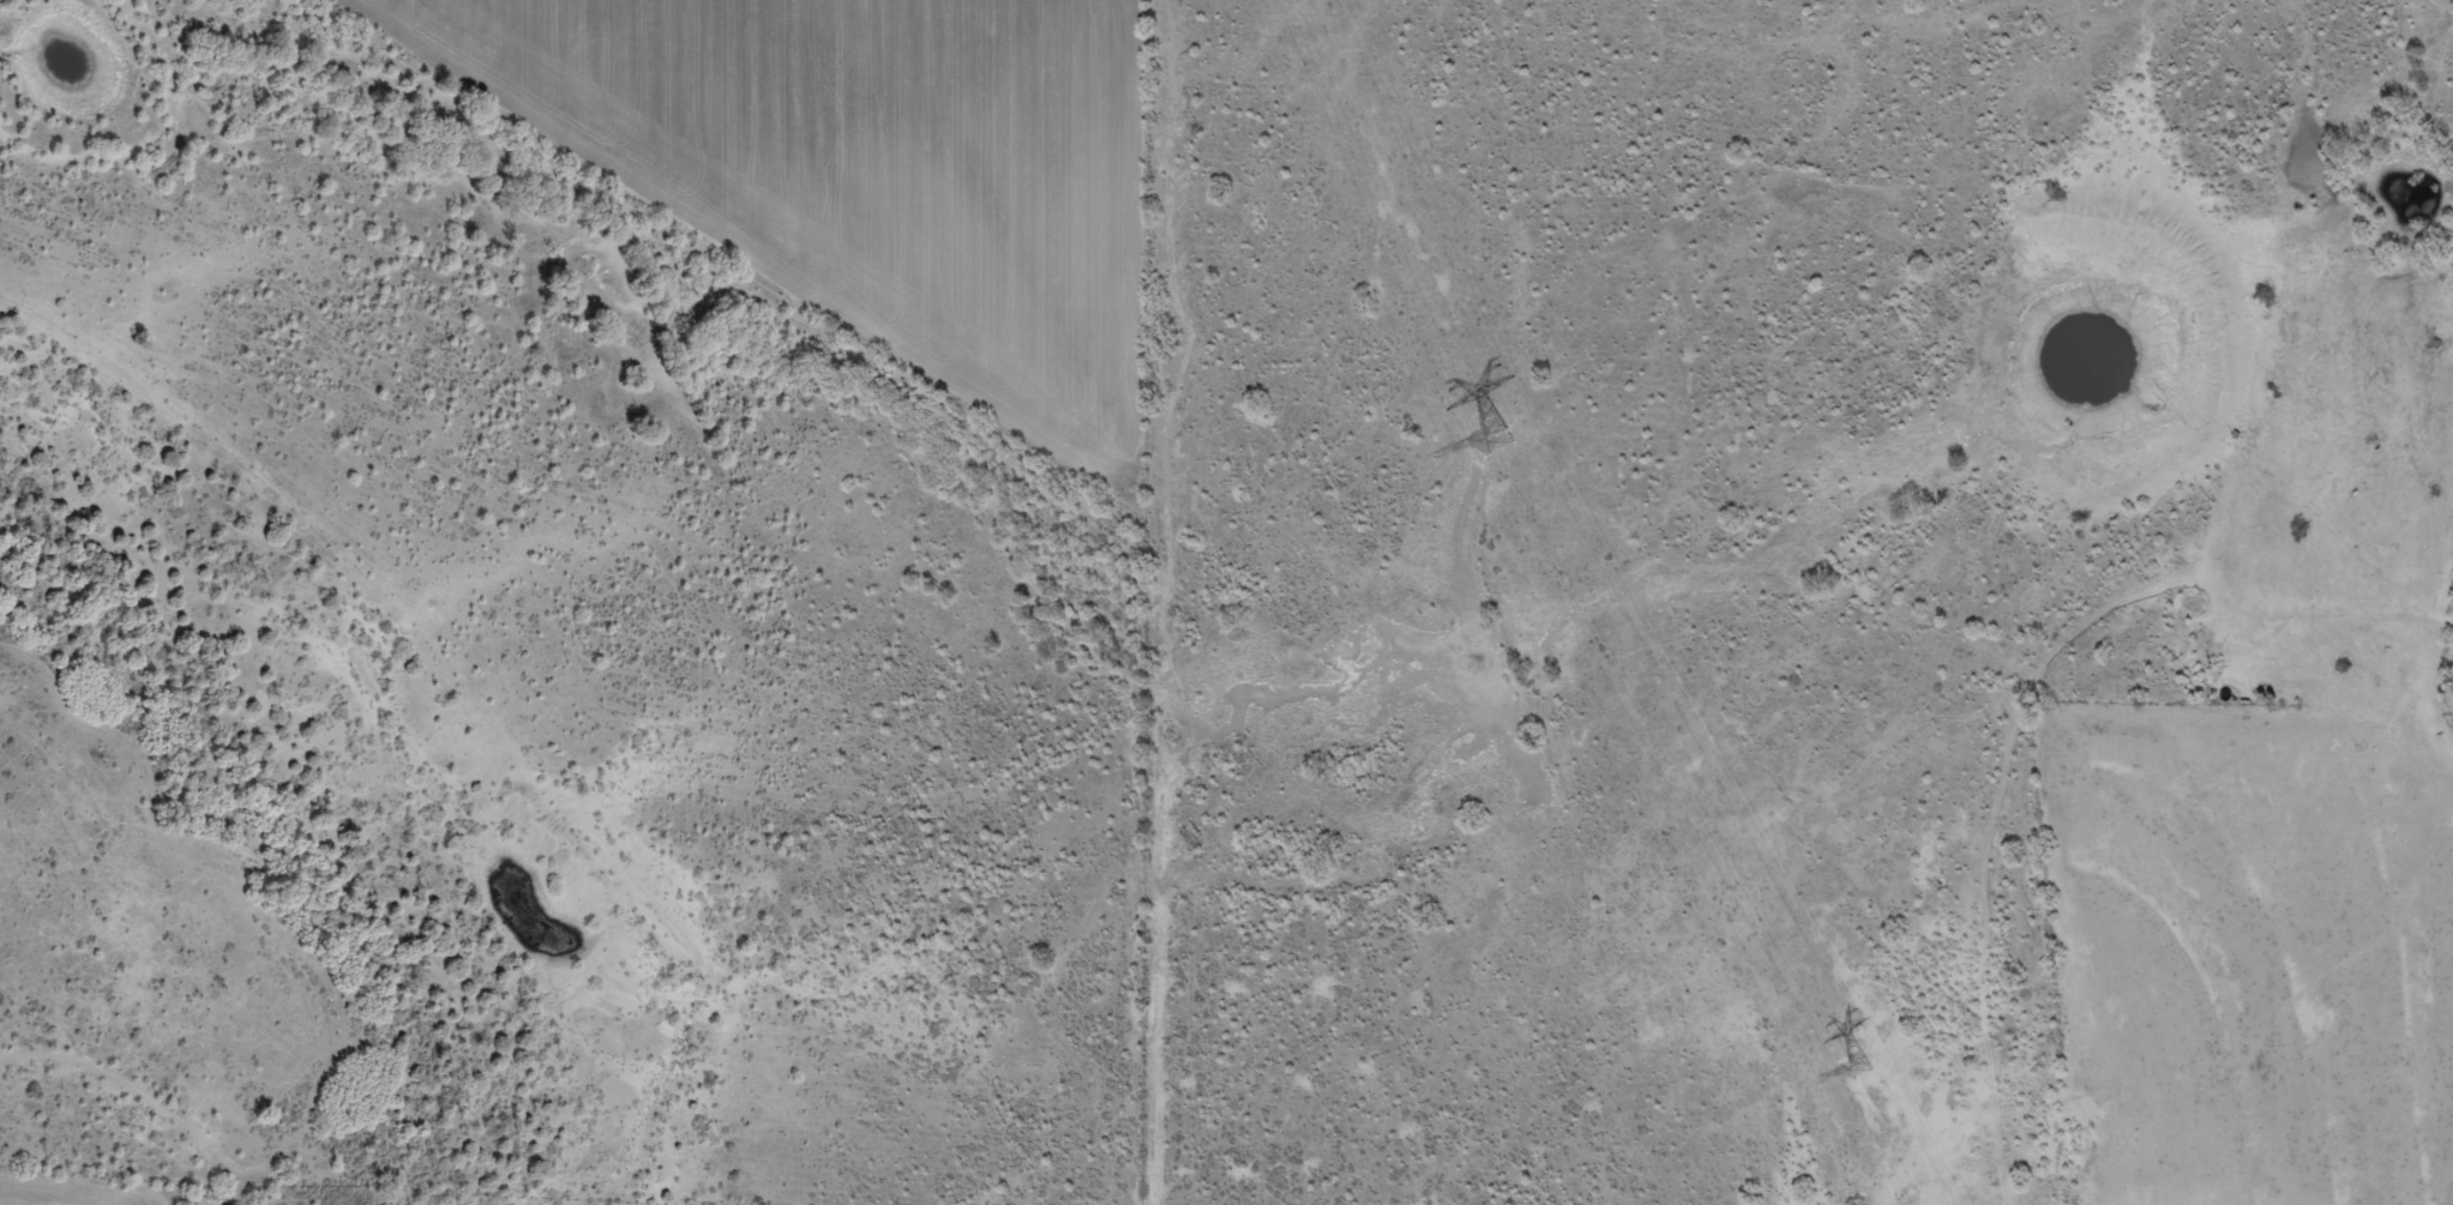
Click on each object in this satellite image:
power tower: (1502, 446)
power tower: (1865, 1070)

